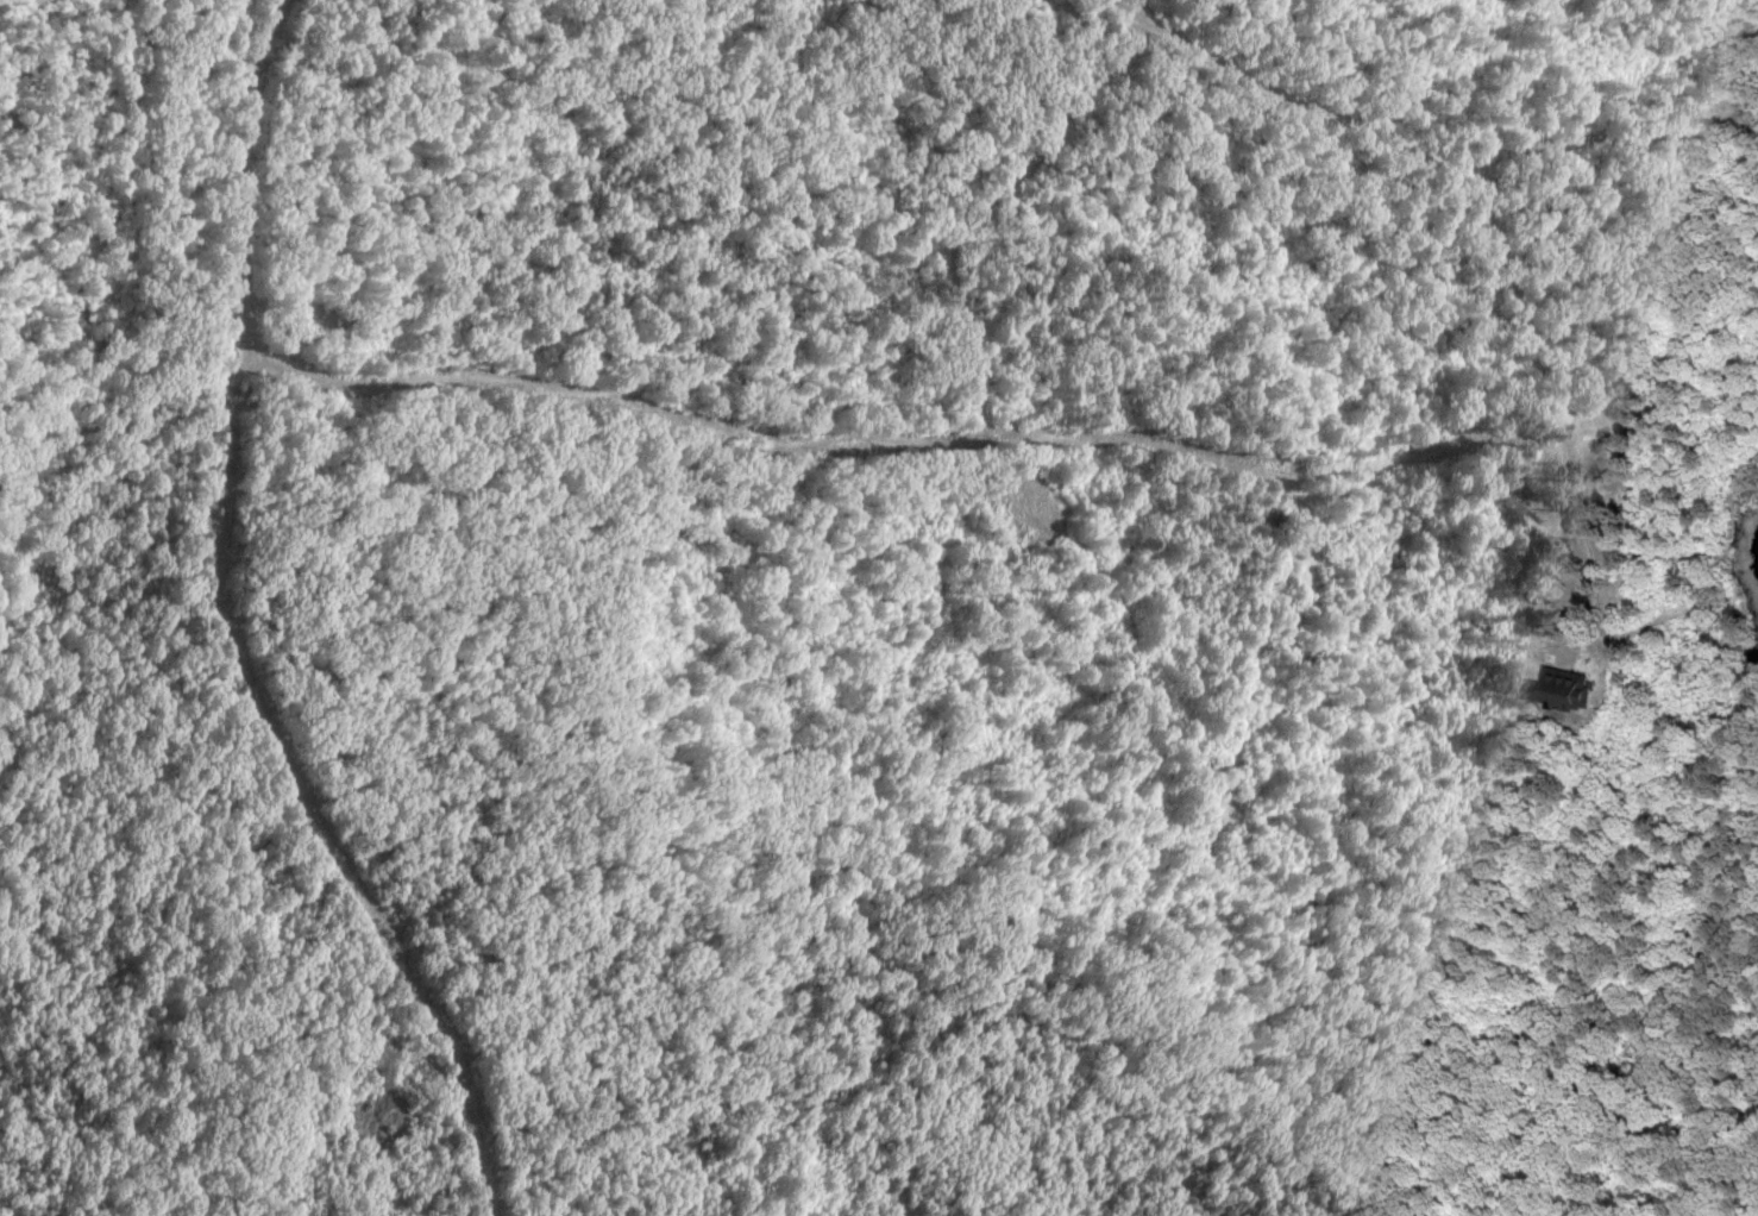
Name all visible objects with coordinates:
road: (1109, 18)
road: (1295, 107)
road: (670, 419)
building: (1586, 439)
building: (1557, 689)

